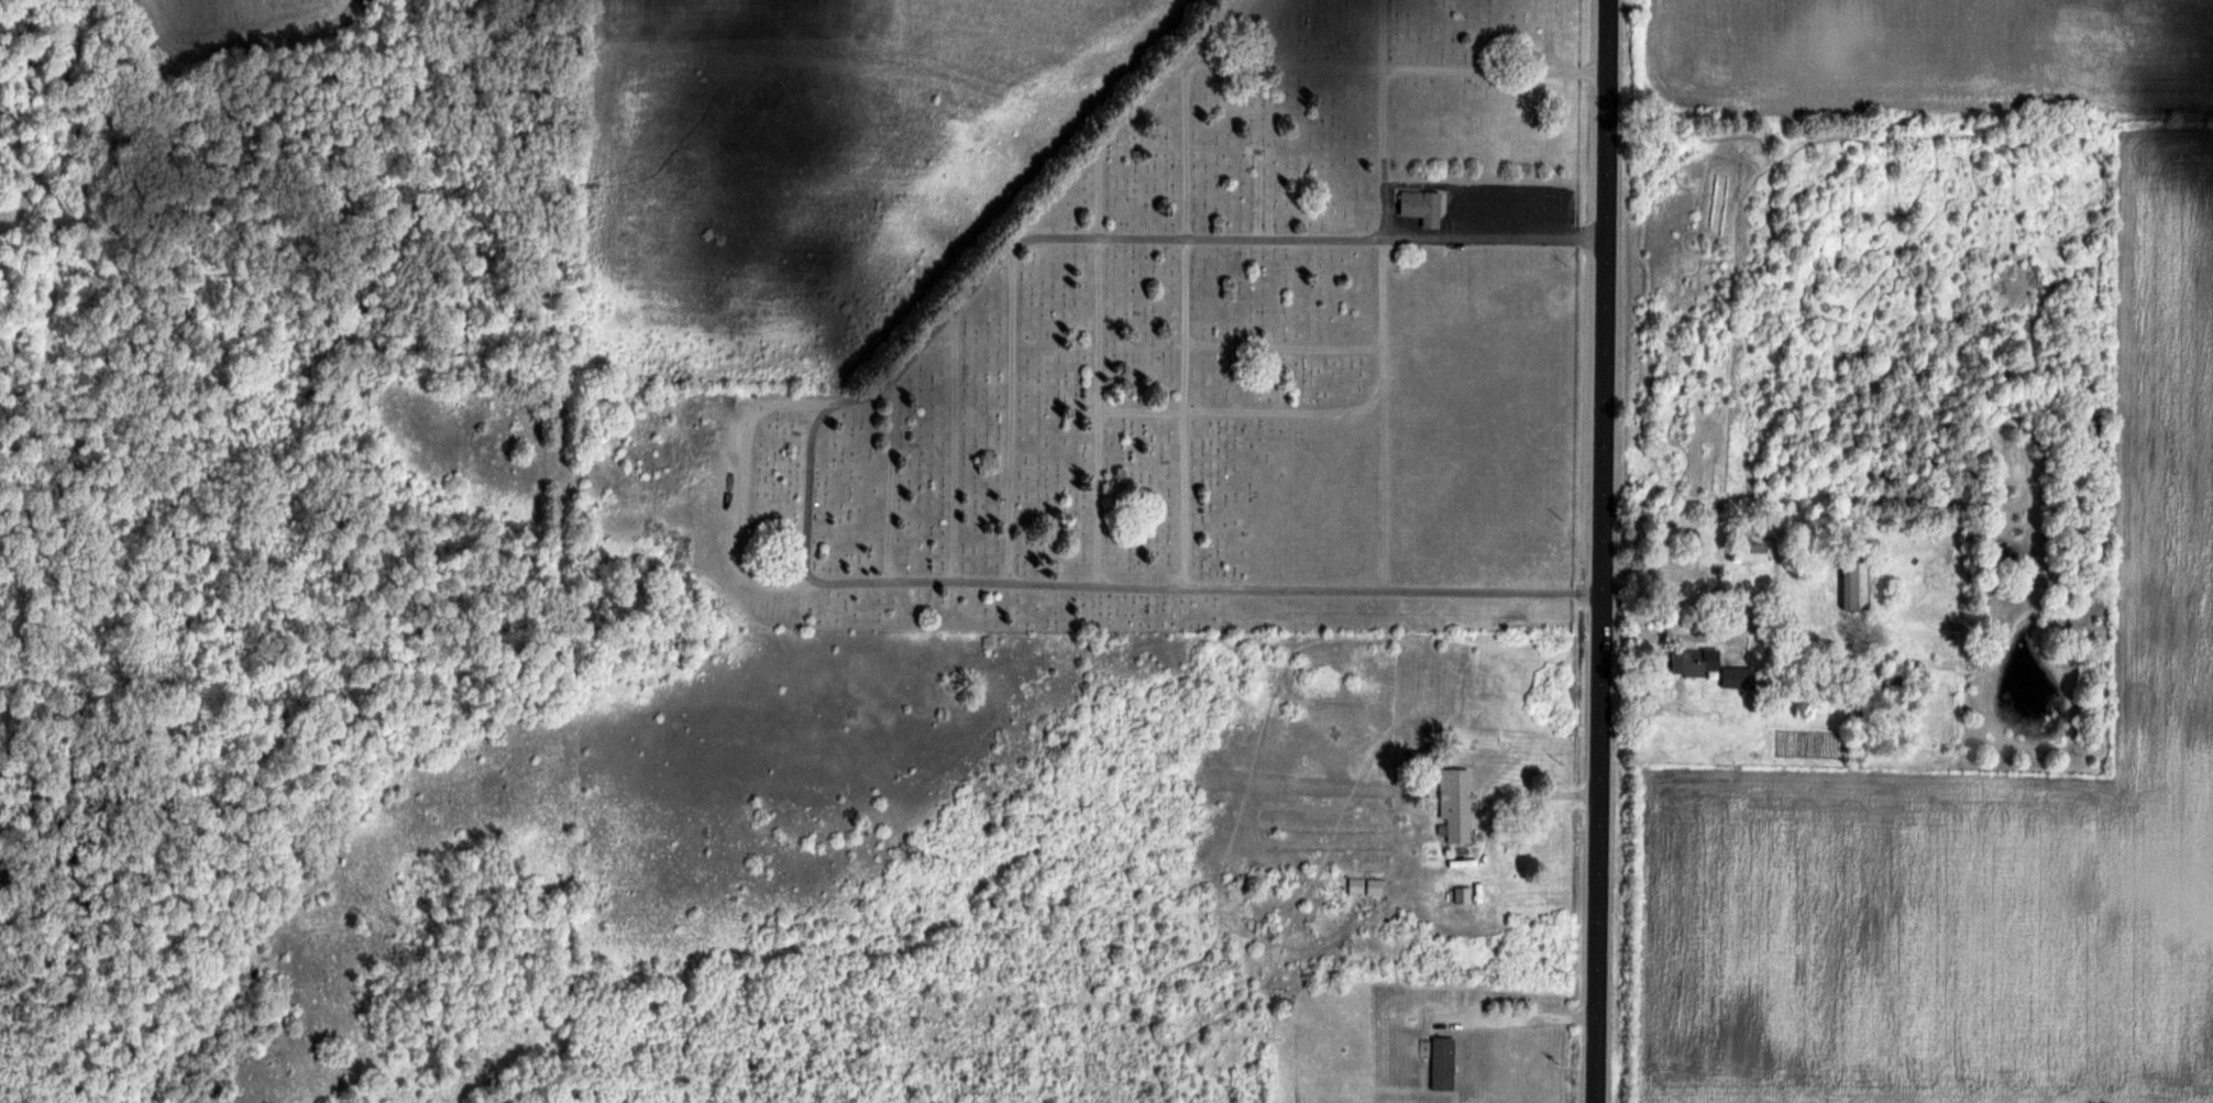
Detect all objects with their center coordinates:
building: (1421, 207)
park: (1192, 366)
road: (1600, 551)
building: (1751, 551)
building: (1857, 585)
building: (1694, 661)
building: (1738, 675)
building: (1455, 803)
road: (1520, 1018)
building: (1442, 1061)

